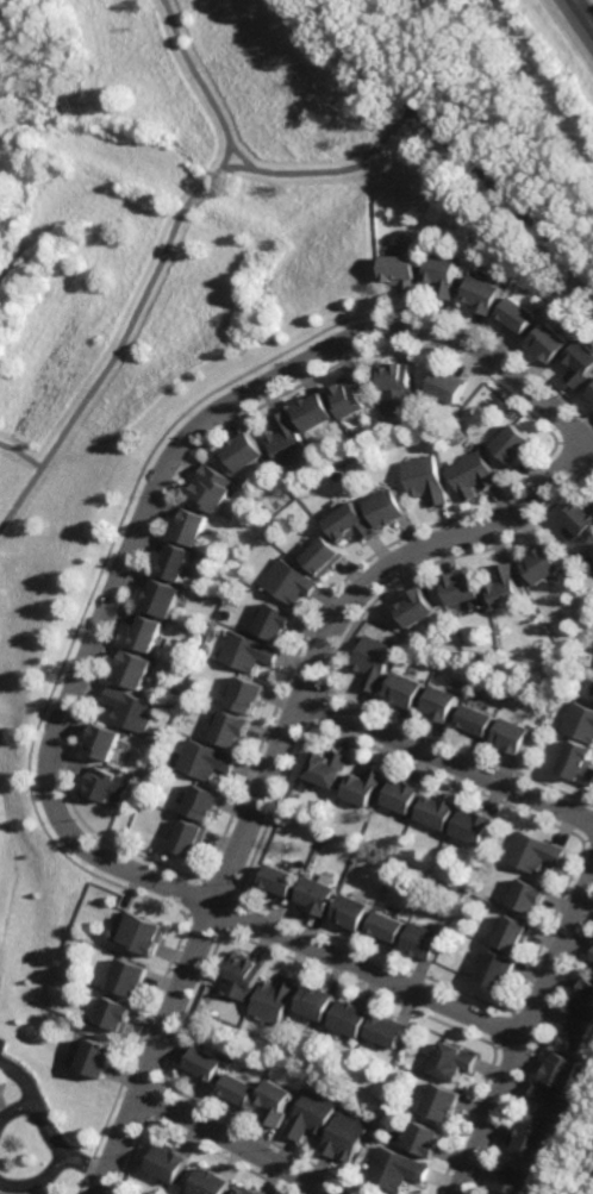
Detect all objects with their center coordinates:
road: (582, 14)
power tower: (520, 42)
park: (481, 110)
road: (452, 142)
road: (223, 157)
road: (249, 169)
park: (156, 261)
building: (401, 271)
building: (443, 274)
building: (482, 294)
building: (517, 315)
road: (543, 319)
road: (123, 336)
building: (550, 342)
building: (581, 363)
building: (394, 386)
building: (448, 386)
building: (591, 393)
building: (350, 395)
building: (592, 400)
building: (312, 412)
building: (287, 442)
building: (512, 444)
building: (242, 452)
road: (20, 455)
building: (470, 475)
building: (424, 480)
road: (154, 487)
building: (211, 489)
building: (383, 508)
building: (579, 518)
building: (348, 524)
building: (187, 527)
building: (592, 551)
building: (320, 557)
building: (173, 563)
building: (538, 565)
building: (588, 565)
building: (287, 583)
building: (501, 587)
building: (456, 588)
building: (161, 599)
building: (412, 608)
building: (274, 624)
building: (144, 634)
building: (246, 654)
building: (369, 662)
building: (132, 671)
building: (592, 689)
building: (401, 690)
building: (244, 698)
building: (437, 705)
building: (130, 711)
building: (473, 721)
building: (579, 721)
building: (229, 732)
building: (508, 734)
building: (104, 742)
road: (275, 758)
building: (202, 762)
road: (447, 762)
building: (576, 762)
building: (323, 767)
building: (110, 784)
building: (362, 784)
building: (400, 793)
building: (294, 795)
building: (202, 801)
building: (436, 811)
building: (472, 825)
building: (189, 836)
building: (531, 852)
building: (277, 880)
building: (460, 893)
building: (316, 894)
building: (526, 895)
building: (349, 911)
building: (385, 927)
building: (513, 933)
building: (149, 934)
building: (422, 940)
building: (591, 955)
building: (495, 969)
road: (368, 973)
building: (242, 975)
building: (132, 977)
building: (583, 998)
building: (274, 999)
building: (316, 1002)
building: (118, 1013)
building: (350, 1018)
building: (386, 1031)
building: (574, 1033)
road: (522, 1037)
parking lot: (1, 1044)
building: (100, 1057)
building: (451, 1061)
building: (205, 1063)
building: (560, 1070)
parking lot: (0, 1083)
building: (238, 1092)
building: (275, 1102)
building: (439, 1102)
building: (553, 1108)
road: (15, 1109)
building: (310, 1115)
road: (46, 1126)
building: (343, 1137)
building: (423, 1140)
building: (531, 1140)
road: (233, 1144)
building: (170, 1163)
building: (393, 1169)
building: (513, 1179)
road: (37, 1182)
building: (211, 1182)
road: (588, 1183)
building: (243, 1190)

